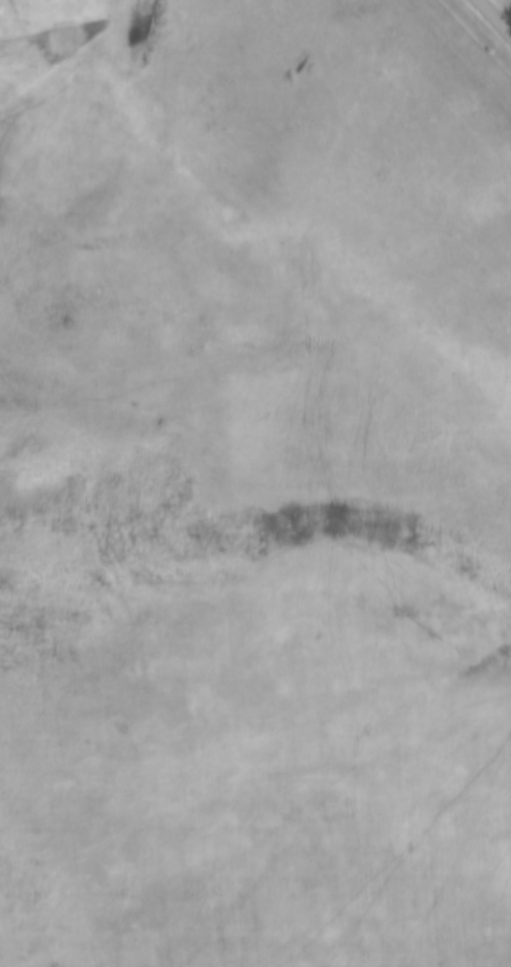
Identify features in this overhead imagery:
road: (496, 15)

